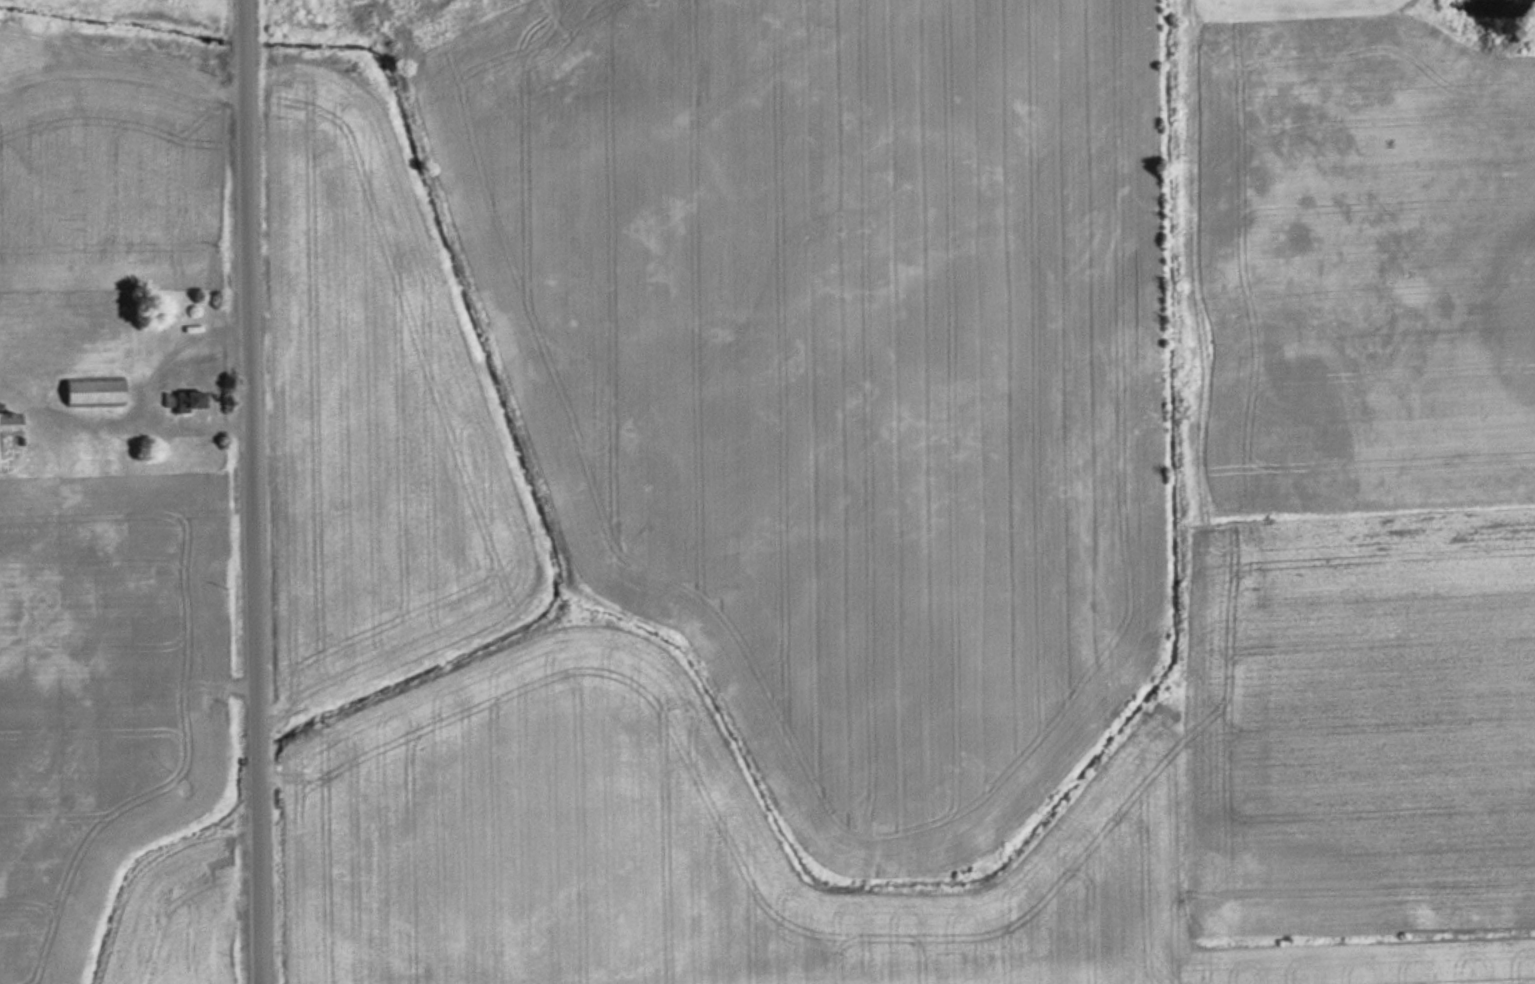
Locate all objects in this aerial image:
building: (90, 391)
building: (182, 401)
building: (4, 424)
road: (249, 491)

